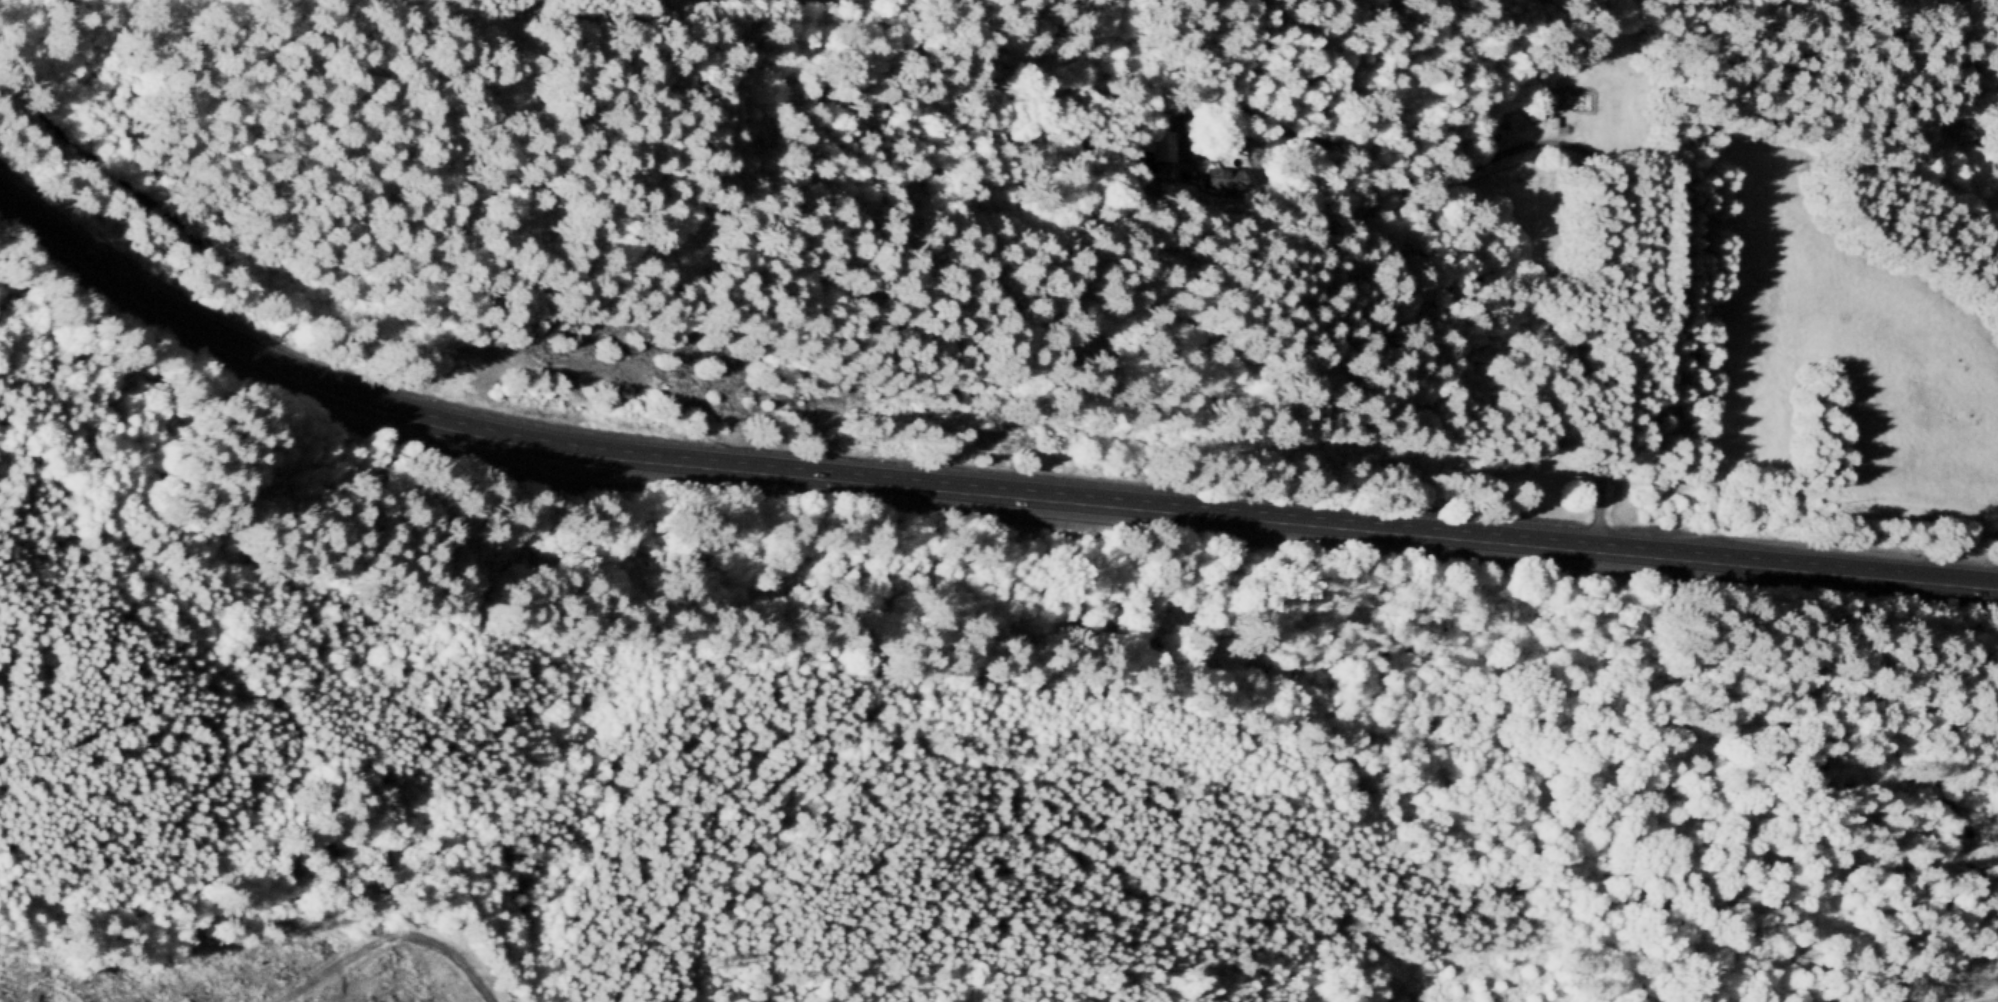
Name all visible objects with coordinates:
road: (767, 3)
road: (695, 7)
road: (1566, 145)
building: (1166, 146)
building: (1222, 178)
crop: (1845, 348)
road: (307, 383)
road: (1327, 526)
road: (168, 707)
road: (831, 751)
road: (248, 826)
road: (1351, 929)
road: (1630, 978)

